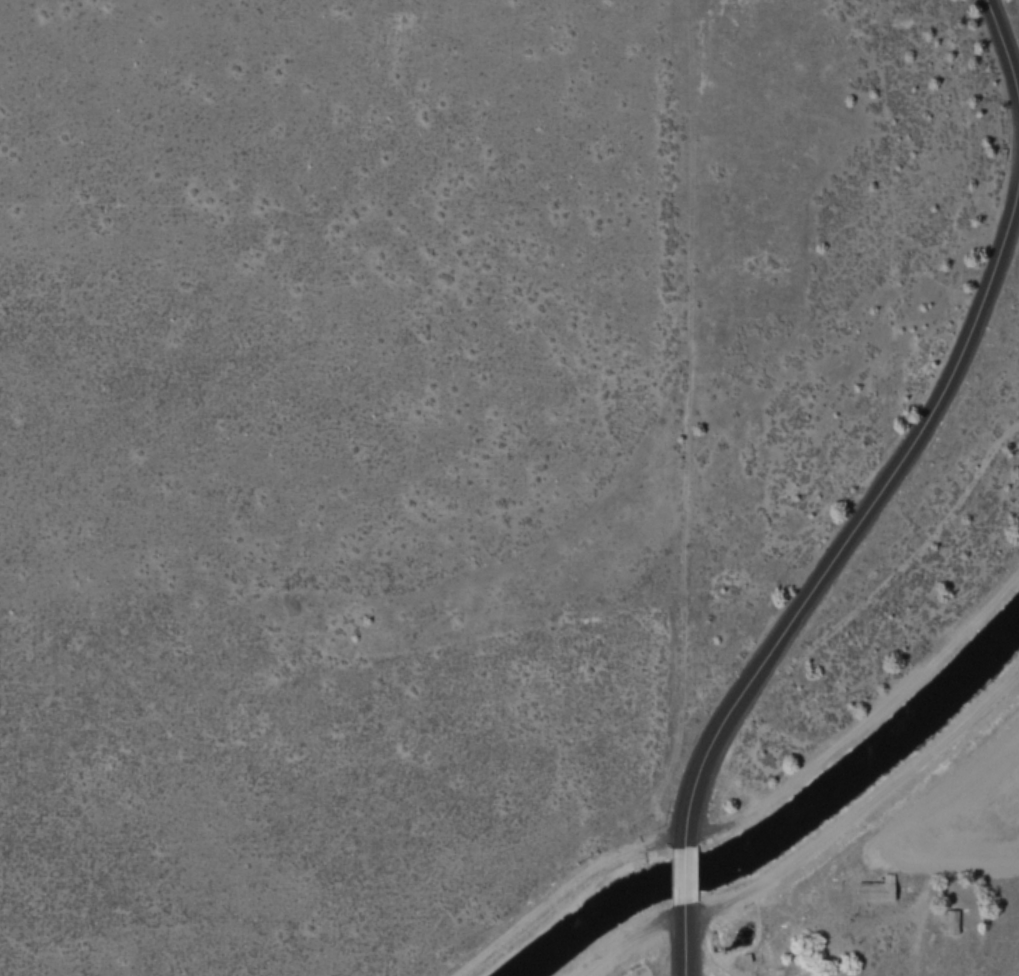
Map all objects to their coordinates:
road: (1003, 57)
road: (863, 515)
road: (864, 814)
crop: (820, 844)
road: (682, 873)
road: (683, 939)

